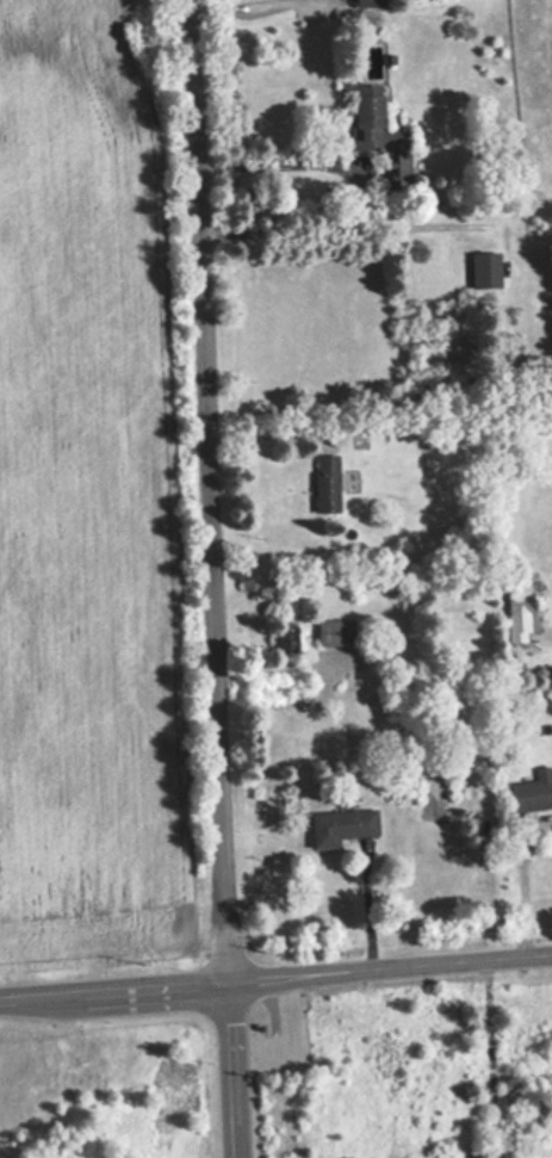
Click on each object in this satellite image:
building: (370, 2)
road: (232, 8)
building: (376, 126)
road: (324, 224)
building: (485, 268)
building: (327, 482)
road: (212, 491)
building: (521, 597)
building: (335, 630)
building: (285, 636)
building: (531, 792)
building: (342, 825)
road: (514, 893)
road: (275, 977)
road: (232, 1070)

